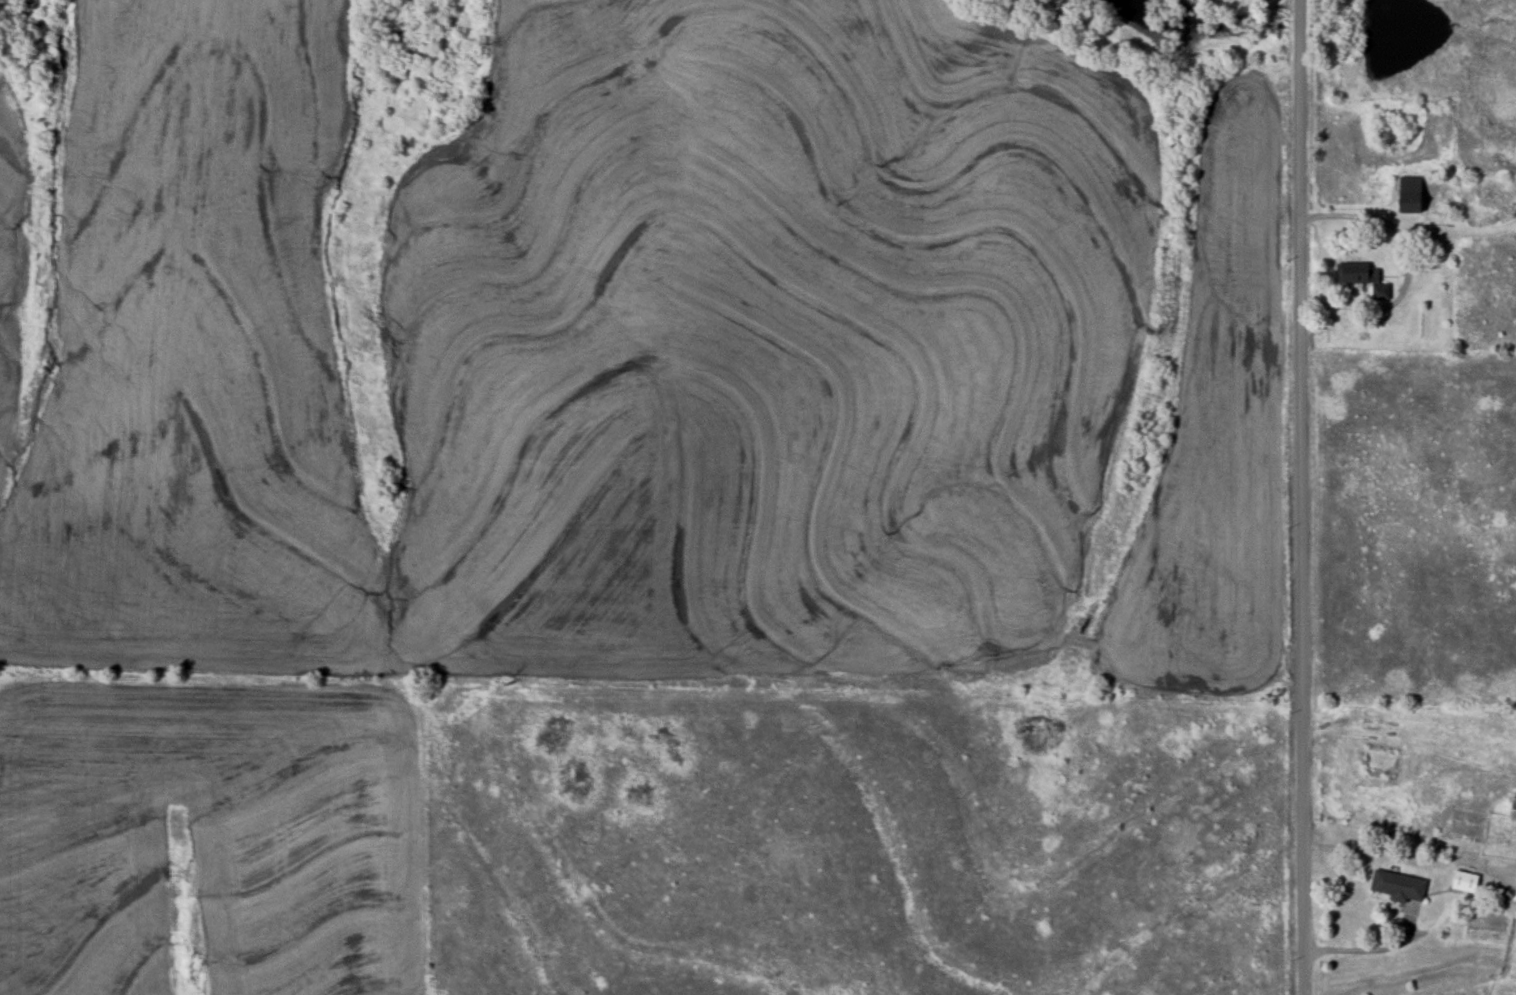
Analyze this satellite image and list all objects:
building: (1412, 195)
road: (1411, 266)
building: (1365, 278)
road: (1303, 497)
building: (1513, 811)
building: (1466, 882)
building: (1399, 885)
road: (1377, 948)

